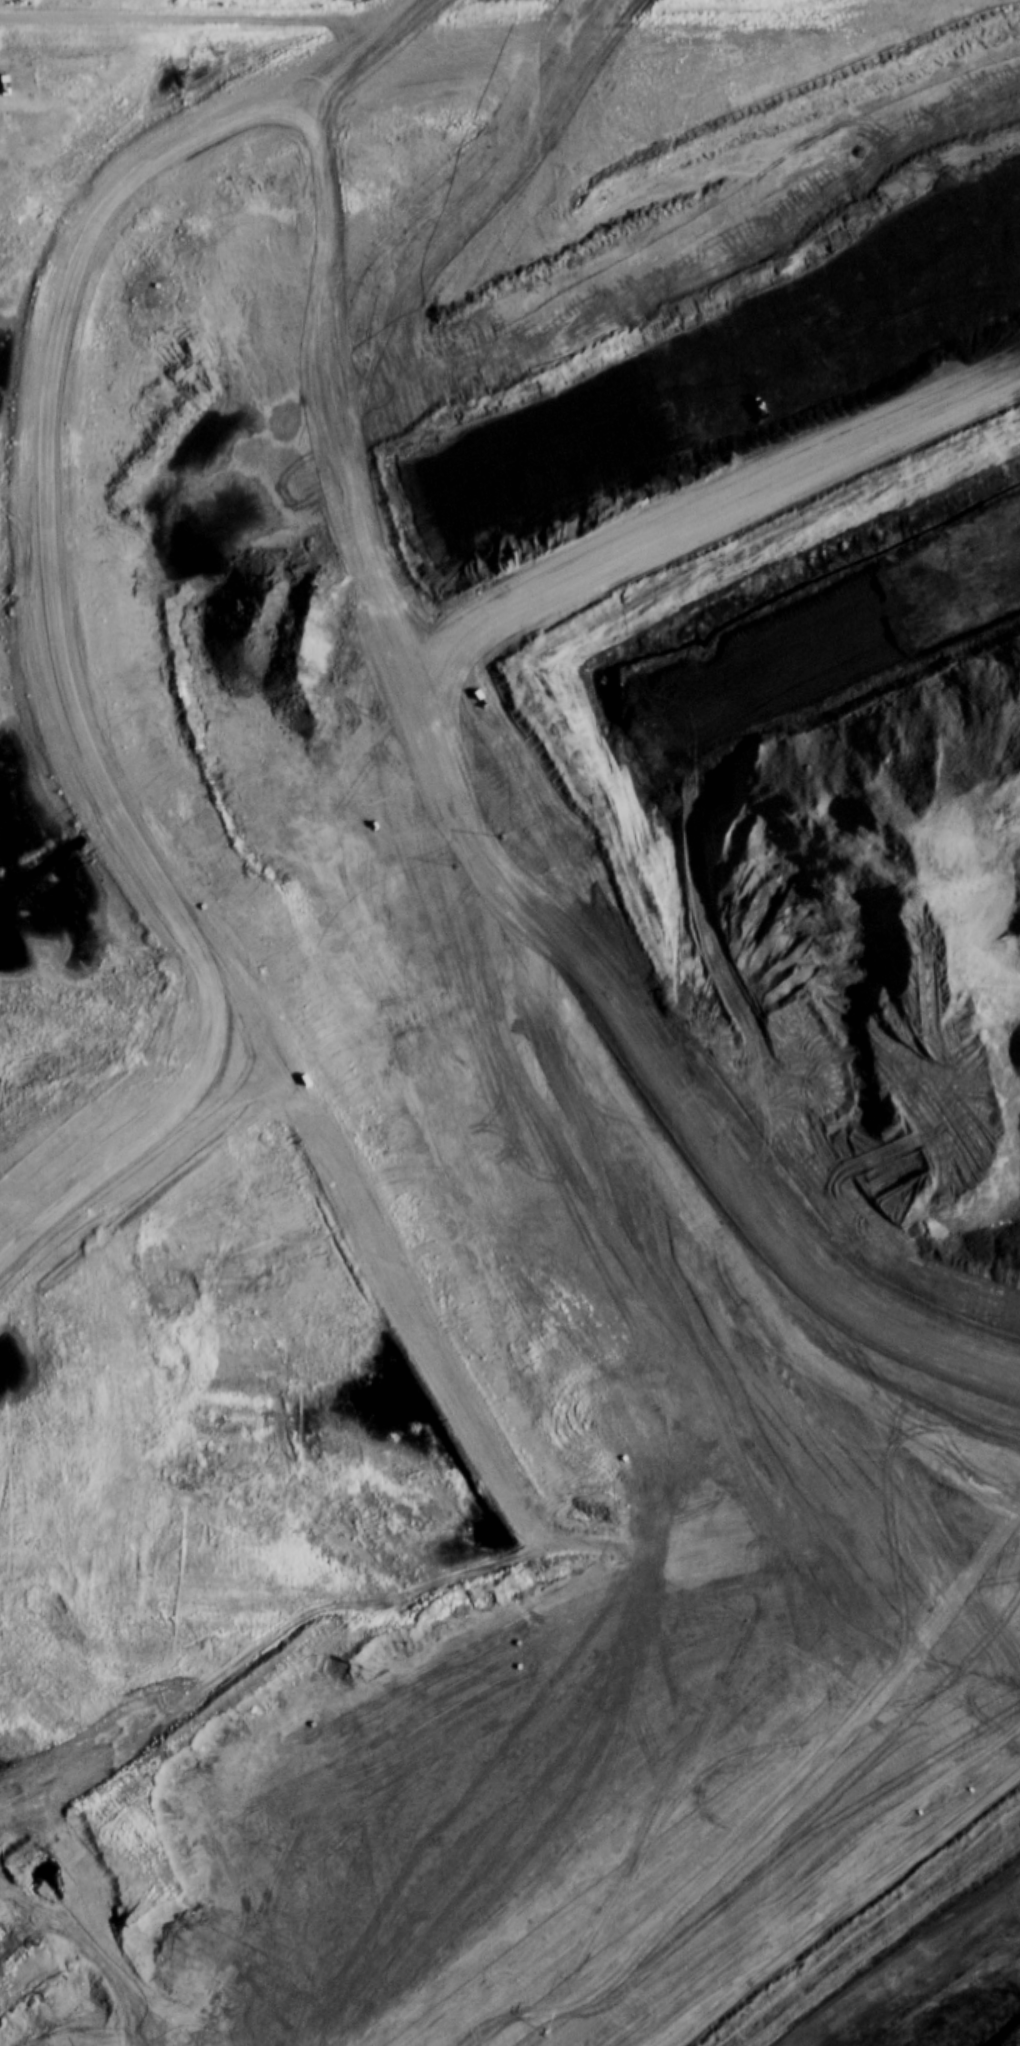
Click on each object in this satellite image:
road: (509, 18)

